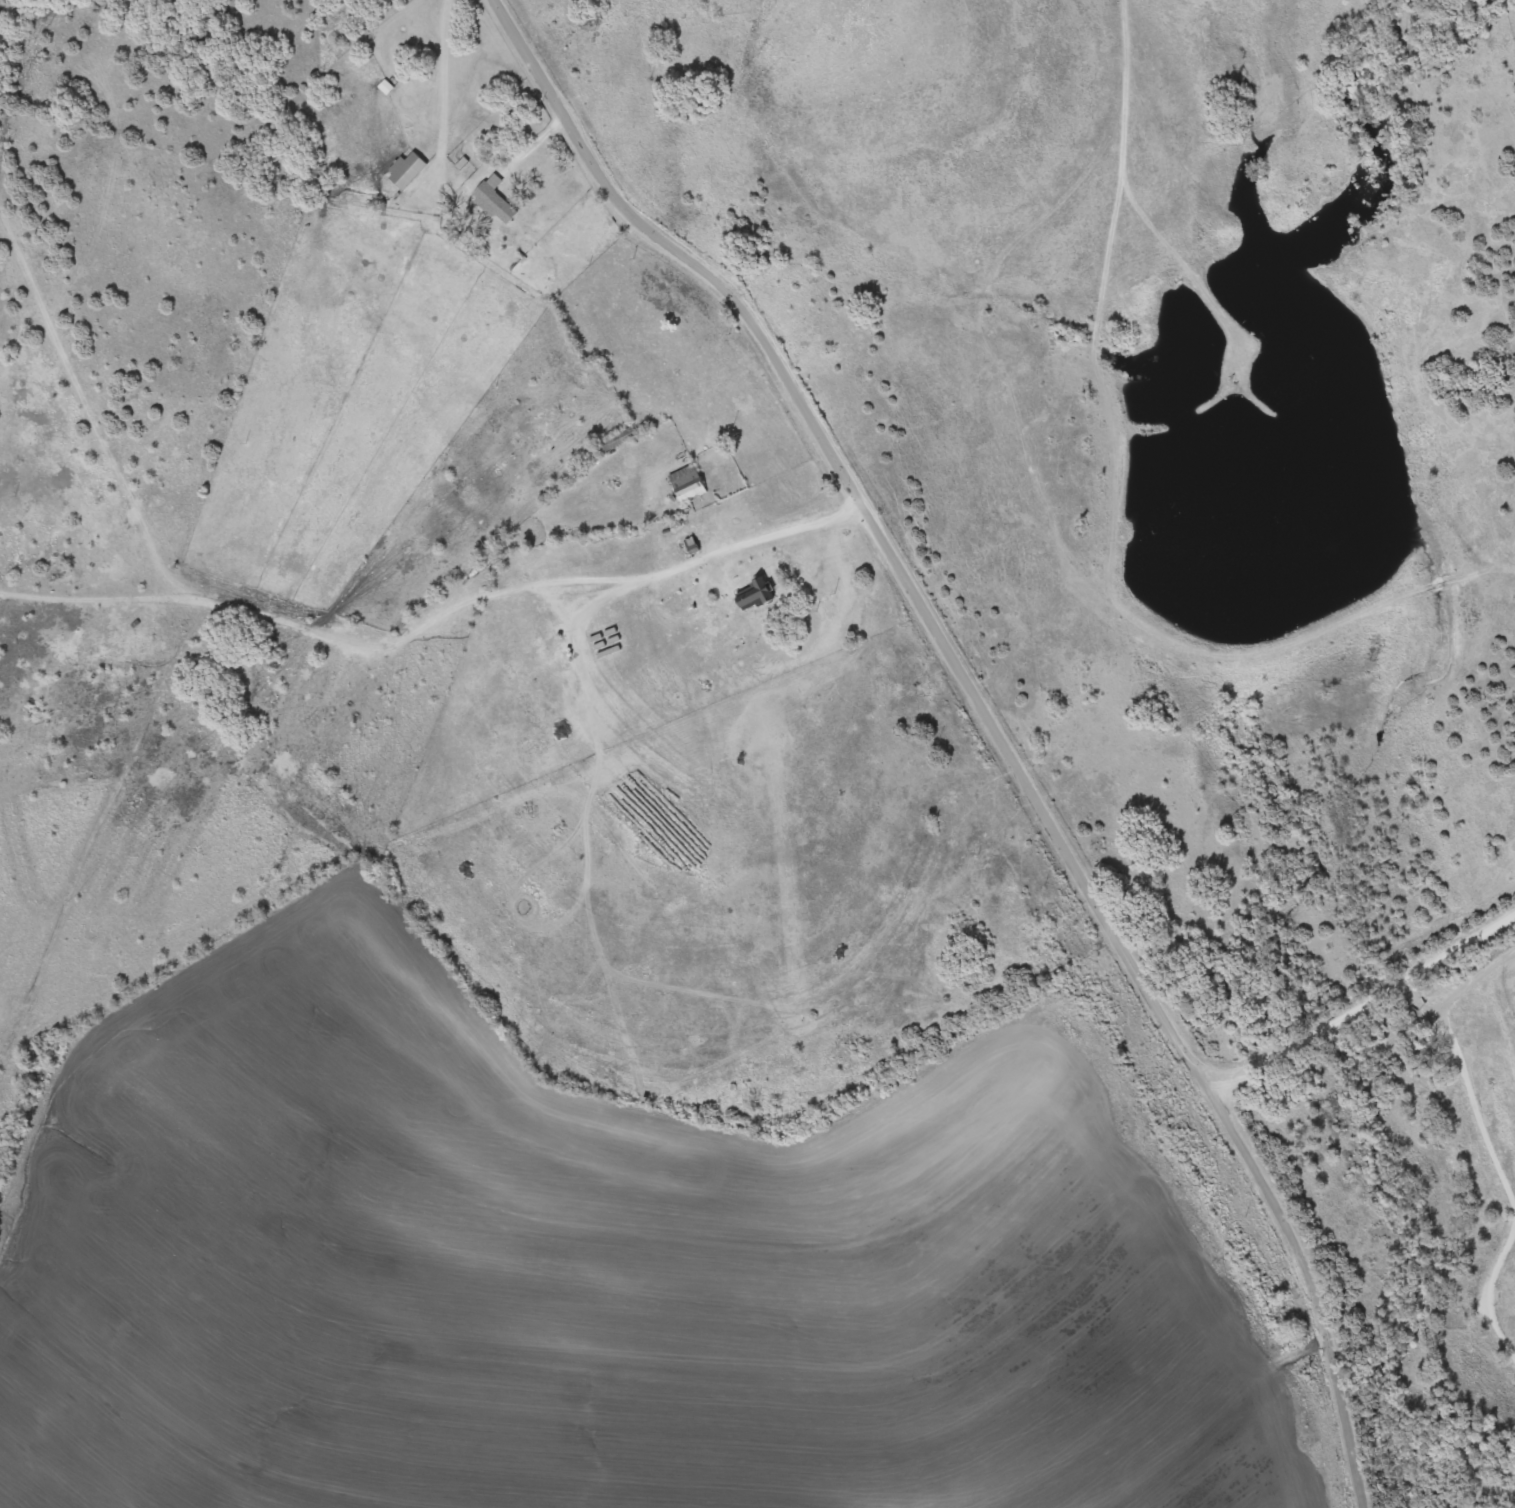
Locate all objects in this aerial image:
road: (435, 119)
building: (407, 170)
building: (495, 201)
building: (617, 439)
building: (688, 483)
building: (757, 594)
road: (437, 616)
road: (993, 720)
road: (1367, 1013)

